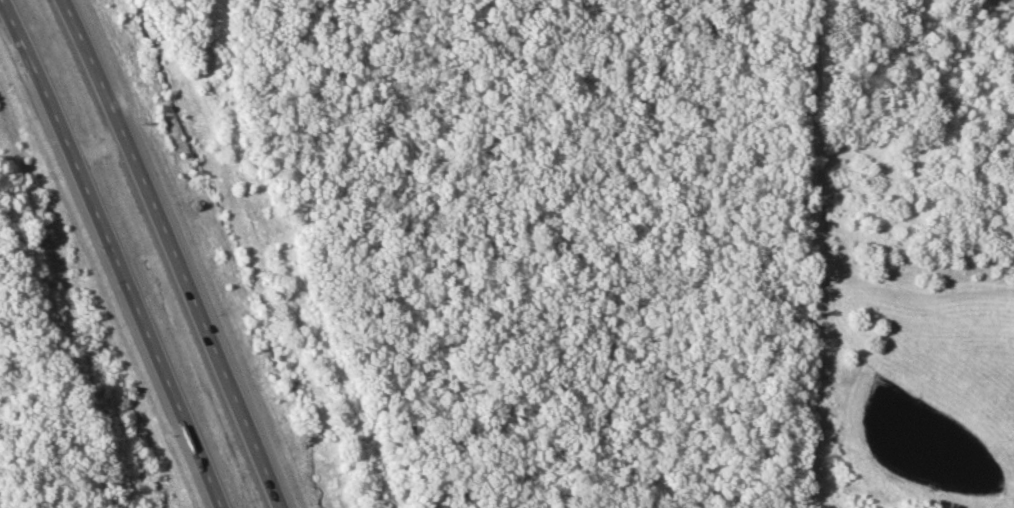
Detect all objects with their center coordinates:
road: (115, 253)
road: (172, 253)

